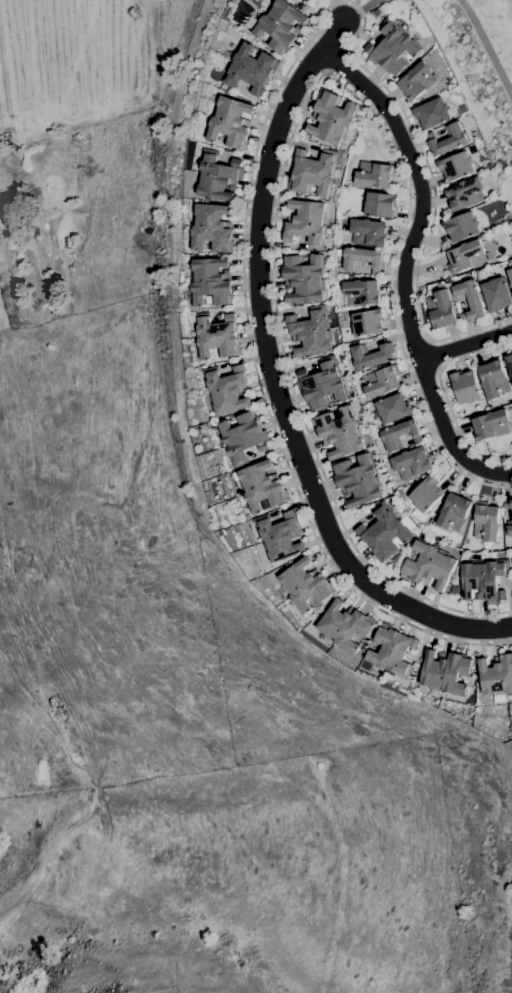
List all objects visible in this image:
road: (359, 11)
park: (499, 18)
building: (280, 25)
road: (488, 46)
building: (392, 47)
building: (250, 69)
building: (417, 80)
building: (432, 113)
building: (332, 118)
building: (231, 122)
building: (448, 139)
road: (258, 142)
building: (456, 166)
building: (314, 172)
building: (374, 174)
building: (218, 177)
building: (465, 194)
building: (380, 204)
building: (307, 222)
building: (461, 226)
building: (212, 227)
building: (368, 232)
building: (485, 247)
building: (466, 256)
building: (362, 259)
road: (404, 266)
building: (510, 272)
building: (304, 278)
building: (211, 281)
building: (361, 292)
building: (496, 294)
building: (470, 300)
building: (441, 309)
building: (367, 322)
building: (311, 331)
building: (216, 336)
road: (465, 345)
building: (511, 352)
building: (371, 355)
road: (404, 358)
building: (509, 364)
building: (493, 380)
road: (273, 381)
building: (381, 381)
building: (323, 384)
building: (466, 387)
building: (227, 389)
road: (443, 395)
road: (294, 399)
building: (393, 408)
building: (491, 425)
building: (340, 432)
building: (400, 435)
building: (243, 436)
building: (411, 462)
building: (358, 480)
building: (262, 487)
building: (426, 494)
building: (507, 503)
building: (453, 512)
building: (486, 522)
building: (509, 527)
building: (384, 532)
building: (279, 536)
building: (429, 565)
building: (484, 579)
building: (305, 585)
building: (345, 625)
building: (392, 651)
building: (445, 671)
building: (496, 675)

